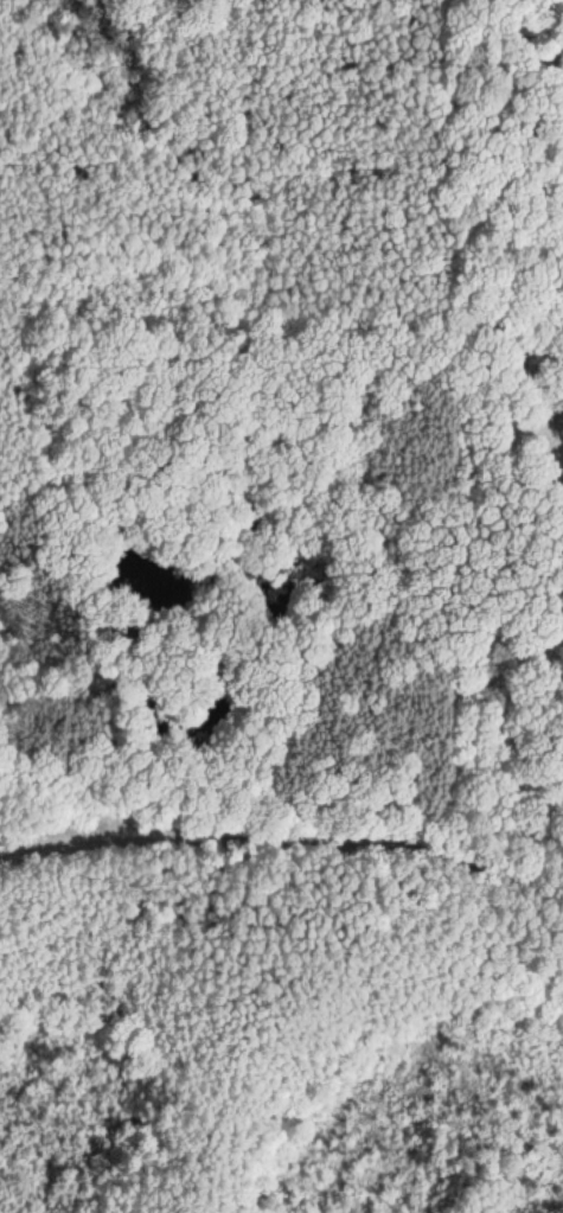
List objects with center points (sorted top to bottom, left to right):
road: (289, 818)

